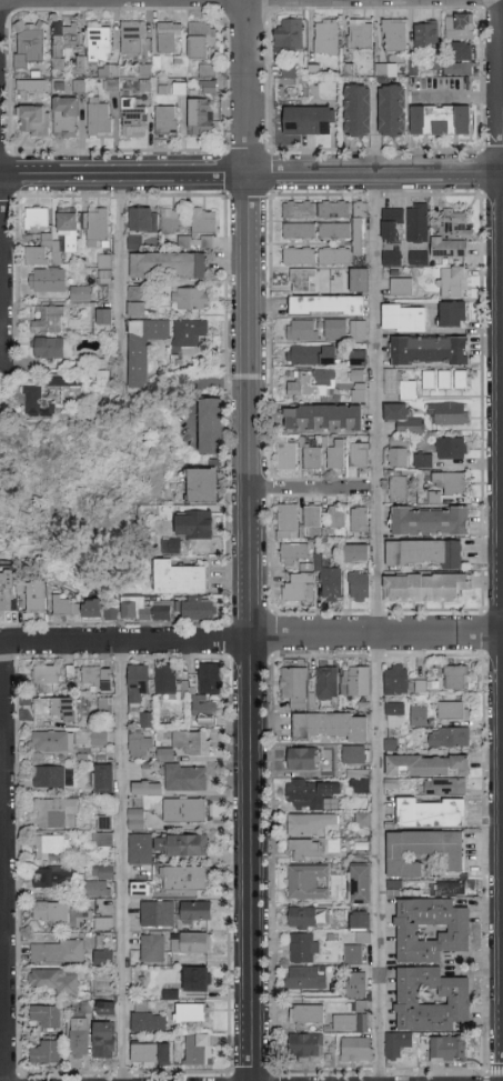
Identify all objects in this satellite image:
road: (74, 2)
road: (188, 2)
building: (461, 27)
building: (396, 34)
building: (427, 34)
building: (361, 36)
building: (134, 37)
building: (170, 37)
building: (290, 37)
building: (329, 38)
building: (203, 41)
building: (66, 42)
building: (31, 43)
building: (100, 43)
building: (463, 52)
building: (182, 61)
building: (159, 63)
building: (437, 64)
building: (81, 67)
building: (414, 67)
building: (460, 69)
building: (349, 70)
building: (388, 70)
building: (111, 71)
building: (147, 71)
building: (210, 71)
building: (291, 71)
building: (315, 71)
building: (38, 74)
building: (302, 82)
building: (112, 86)
building: (147, 86)
building: (34, 87)
building: (81, 87)
building: (210, 87)
road: (250, 88)
building: (181, 89)
building: (165, 91)
building: (359, 112)
building: (393, 112)
building: (68, 117)
building: (202, 118)
building: (101, 119)
building: (135, 119)
building: (36, 120)
building: (168, 121)
building: (310, 121)
building: (442, 121)
road: (251, 177)
building: (299, 210)
building: (37, 218)
building: (143, 219)
building: (333, 220)
building: (66, 221)
building: (171, 221)
building: (418, 222)
building: (95, 224)
building: (203, 224)
building: (392, 226)
building: (360, 228)
building: (299, 230)
building: (452, 234)
building: (137, 240)
building: (46, 251)
building: (299, 256)
building: (334, 256)
building: (392, 257)
building: (418, 258)
building: (104, 261)
building: (168, 266)
road: (1, 268)
building: (107, 273)
road: (121, 276)
building: (47, 280)
building: (304, 280)
building: (359, 280)
building: (453, 282)
building: (401, 287)
building: (81, 293)
building: (190, 298)
building: (137, 301)
building: (326, 306)
building: (452, 314)
building: (104, 317)
building: (404, 318)
building: (49, 320)
building: (302, 330)
building: (334, 330)
building: (358, 330)
building: (190, 332)
building: (143, 347)
building: (52, 348)
building: (429, 350)
building: (312, 356)
building: (358, 358)
building: (102, 371)
building: (72, 380)
building: (436, 380)
building: (461, 380)
building: (312, 383)
building: (359, 386)
building: (400, 386)
building: (37, 402)
road: (381, 406)
building: (447, 413)
building: (323, 419)
building: (211, 426)
building: (401, 432)
building: (452, 448)
building: (335, 454)
building: (286, 456)
building: (359, 456)
building: (311, 458)
building: (423, 460)
building: (451, 481)
road: (318, 483)
building: (398, 484)
building: (203, 486)
building: (436, 496)
building: (312, 517)
building: (336, 517)
building: (359, 520)
building: (286, 521)
building: (430, 521)
building: (193, 527)
building: (174, 544)
building: (355, 552)
building: (424, 553)
building: (305, 569)
building: (179, 578)
building: (331, 583)
building: (359, 585)
building: (26, 587)
building: (425, 587)
building: (7, 590)
building: (36, 595)
building: (78, 607)
building: (147, 608)
building: (102, 609)
building: (195, 609)
road: (253, 628)
road: (378, 635)
road: (128, 639)
road: (1, 642)
building: (98, 677)
building: (455, 677)
building: (49, 678)
building: (165, 680)
building: (396, 680)
building: (137, 681)
building: (356, 681)
building: (328, 682)
building: (294, 687)
building: (421, 687)
building: (207, 693)
building: (104, 705)
building: (56, 710)
building: (453, 710)
building: (395, 714)
building: (419, 717)
building: (147, 720)
building: (332, 725)
building: (449, 737)
building: (99, 739)
building: (60, 740)
building: (191, 742)
building: (141, 744)
building: (168, 753)
building: (353, 755)
building: (302, 758)
building: (426, 764)
building: (50, 777)
building: (187, 777)
building: (104, 779)
building: (360, 782)
building: (443, 787)
building: (147, 788)
building: (310, 793)
building: (184, 810)
building: (54, 811)
building: (430, 812)
building: (135, 818)
building: (362, 819)
building: (104, 822)
building: (313, 824)
building: (104, 837)
building: (180, 845)
building: (51, 847)
building: (140, 849)
building: (305, 849)
building: (422, 851)
road: (383, 858)
road: (125, 860)
road: (2, 861)
building: (103, 871)
building: (53, 877)
building: (184, 879)
building: (308, 882)
building: (360, 884)
building: (451, 888)
building: (98, 889)
building: (140, 889)
building: (50, 912)
building: (195, 912)
building: (157, 913)
building: (309, 917)
building: (103, 923)
building: (361, 925)
building: (460, 929)
building: (191, 943)
building: (153, 948)
building: (303, 948)
building: (57, 951)
building: (353, 954)
building: (103, 957)
building: (306, 978)
building: (197, 979)
building: (53, 980)
building: (356, 984)
building: (108, 992)
building: (173, 993)
building: (460, 1000)
building: (105, 1011)
building: (191, 1012)
building: (308, 1013)
building: (47, 1015)
building: (148, 1022)
building: (345, 1022)
building: (79, 1038)
building: (103, 1040)
building: (398, 1043)
building: (305, 1047)
building: (356, 1049)
building: (447, 1049)
building: (199, 1050)
building: (46, 1051)
building: (150, 1054)

